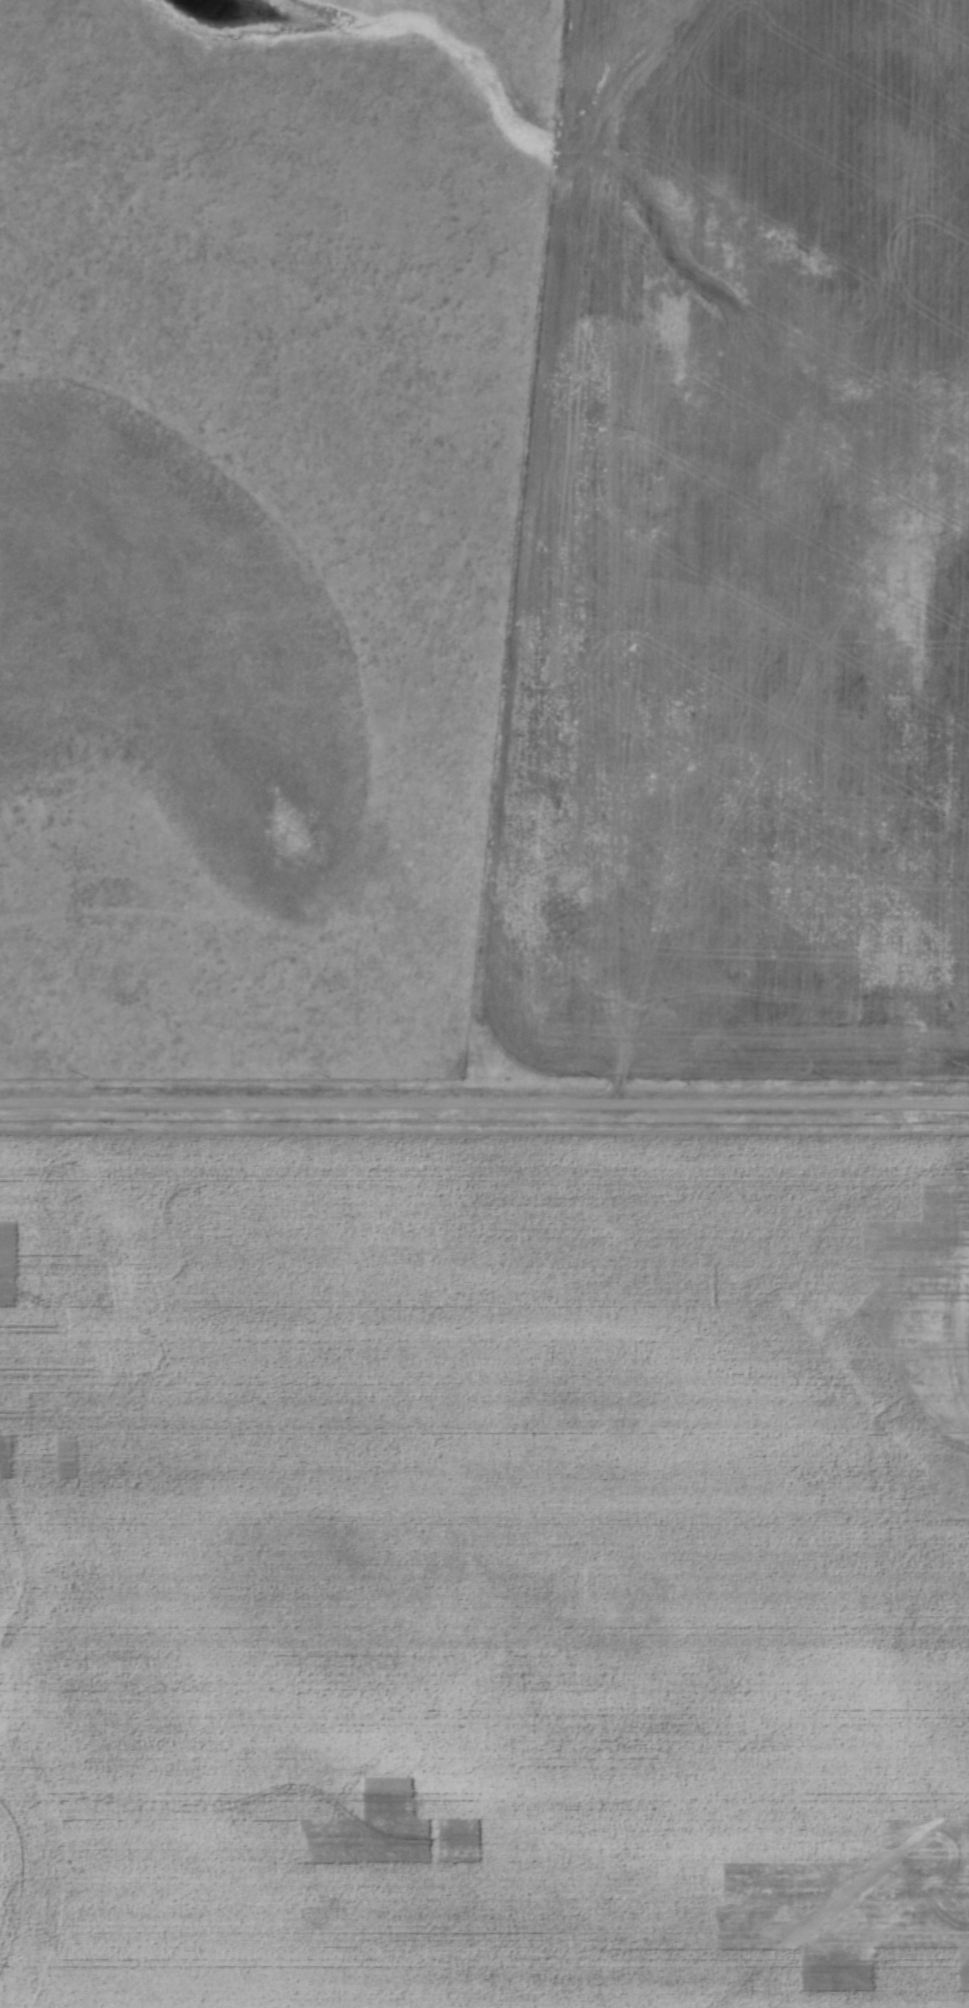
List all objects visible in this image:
road: (484, 1140)

